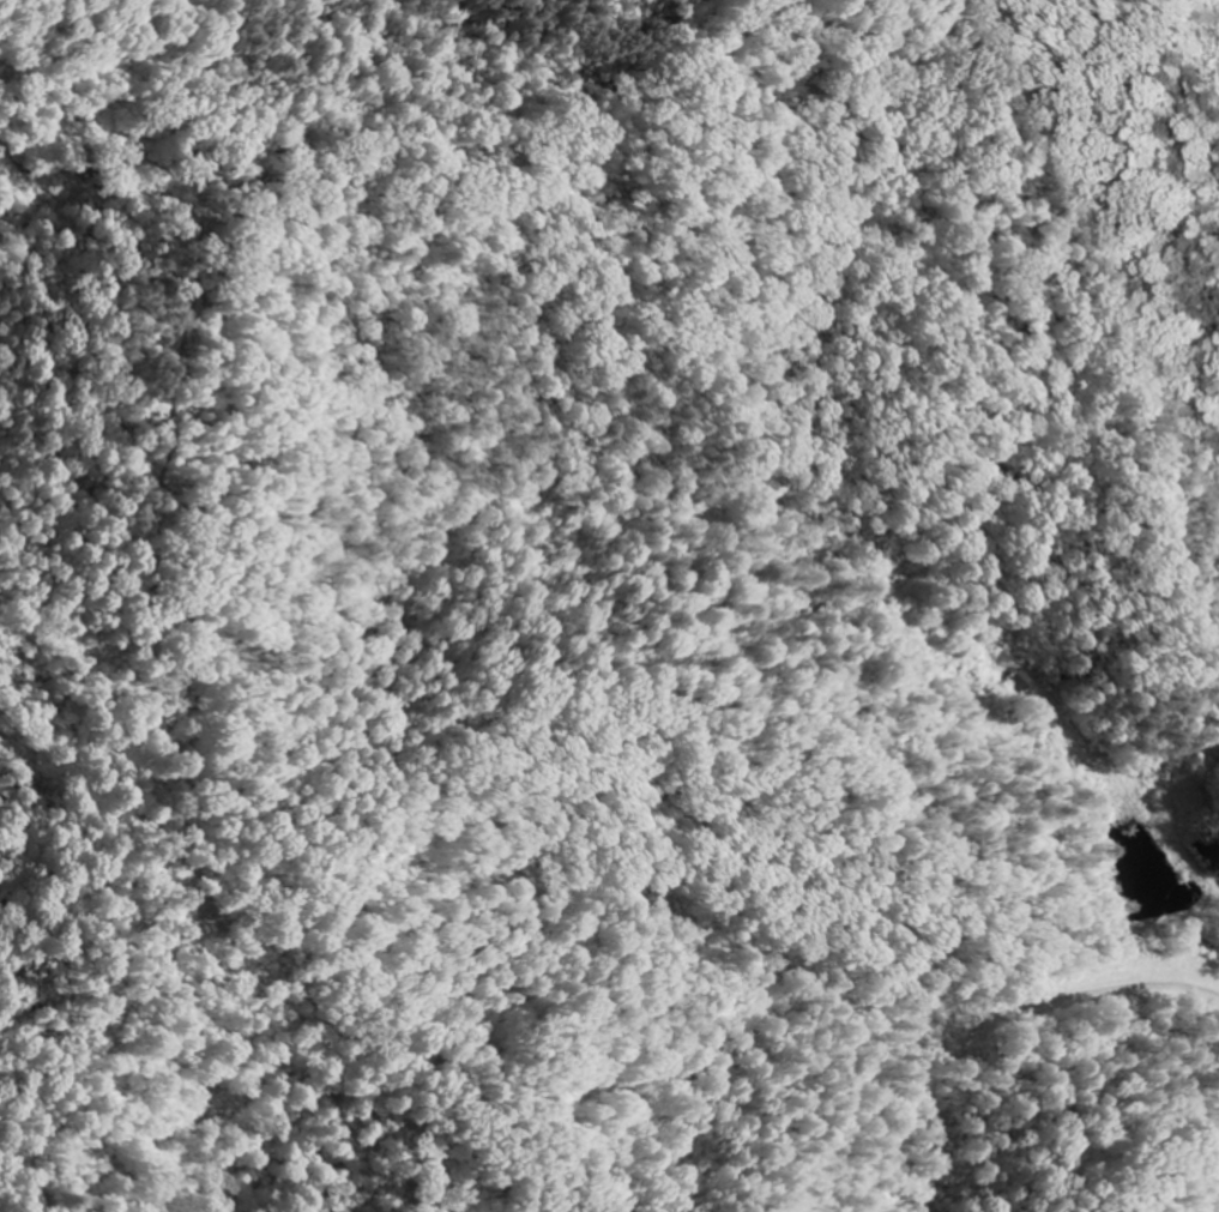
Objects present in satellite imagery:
road: (1207, 798)

